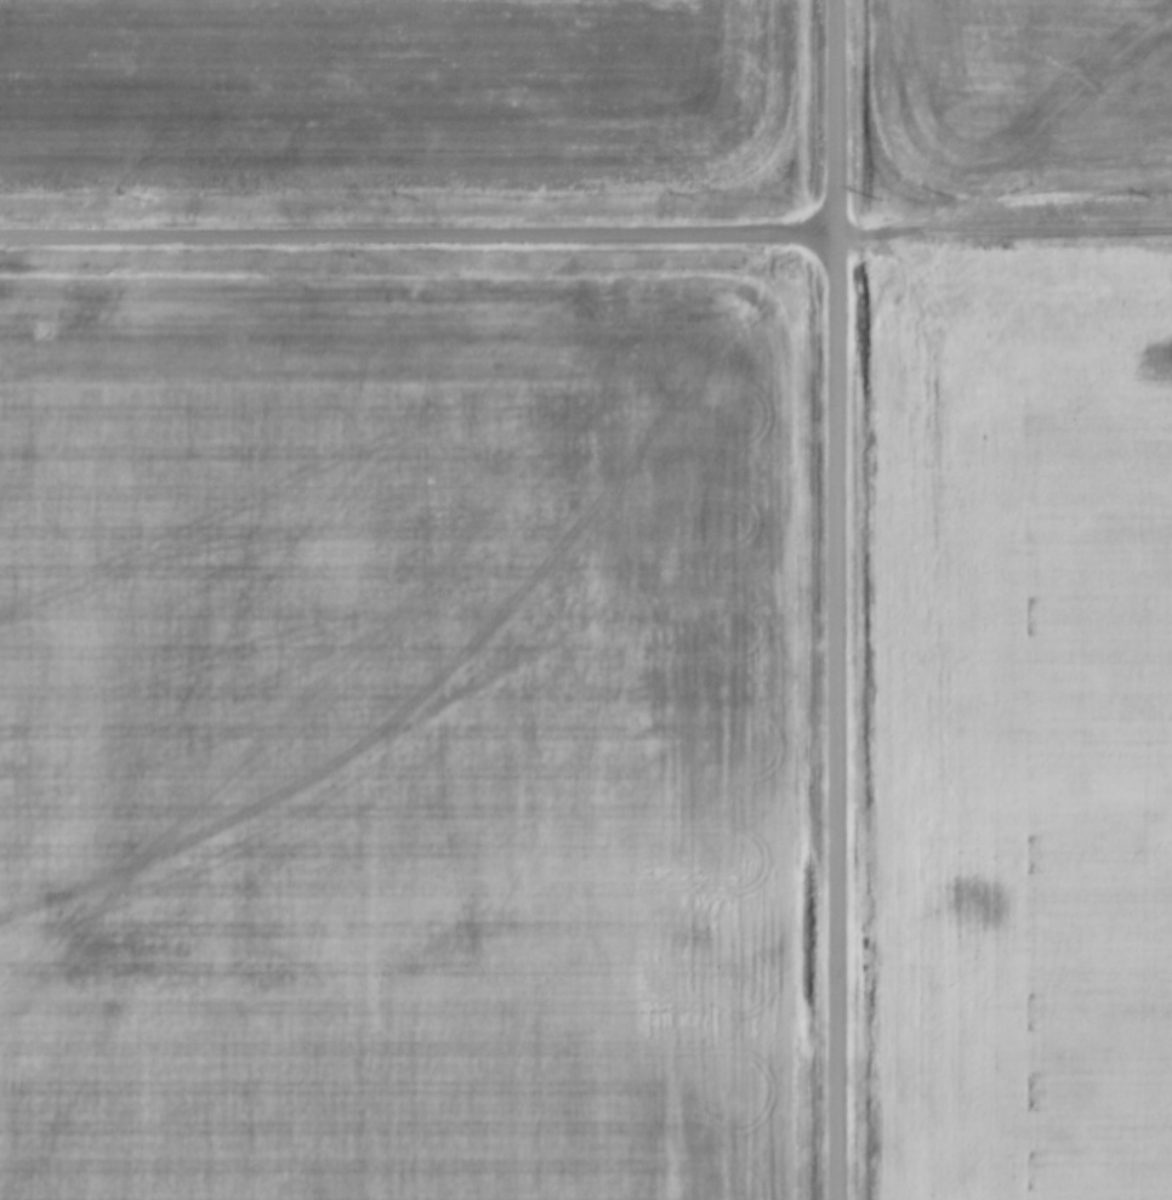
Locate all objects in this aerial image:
road: (1003, 231)
road: (417, 235)
road: (836, 599)

